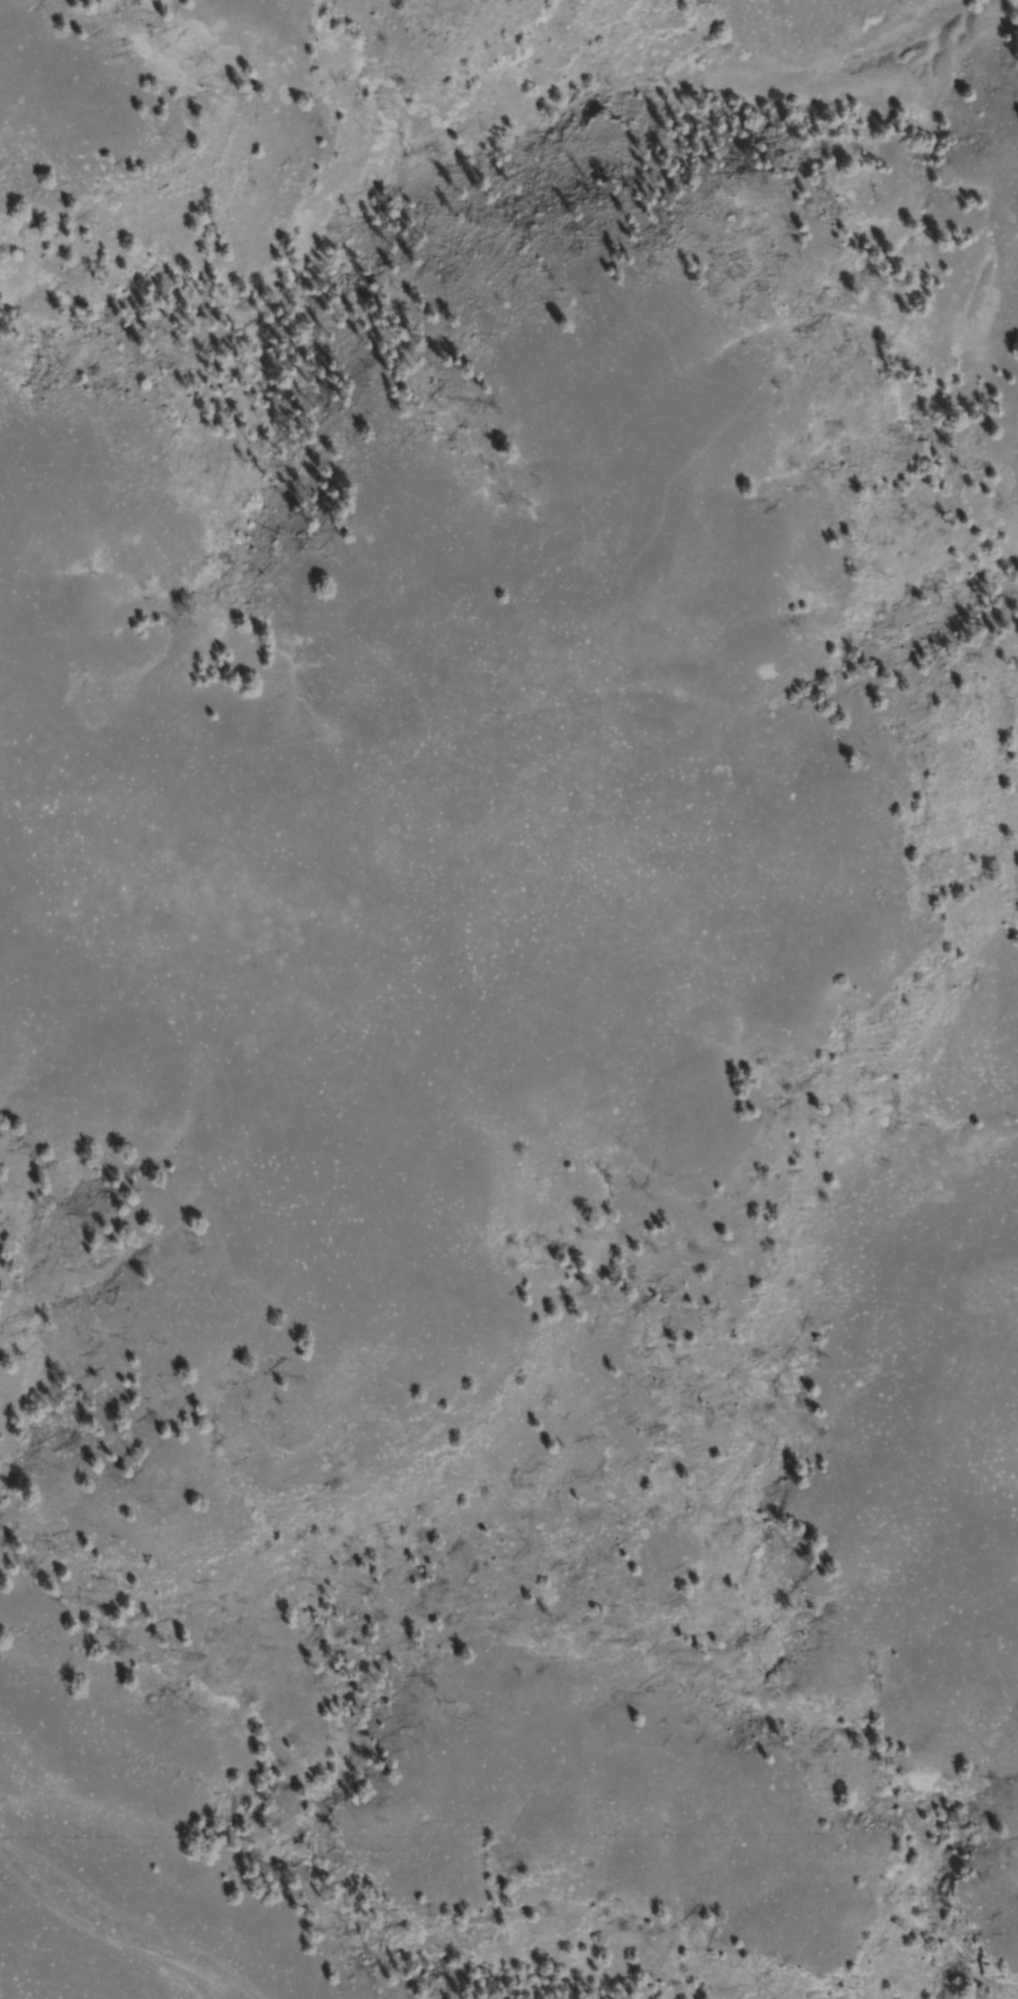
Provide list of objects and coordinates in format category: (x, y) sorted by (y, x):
park: (513, 1899)

